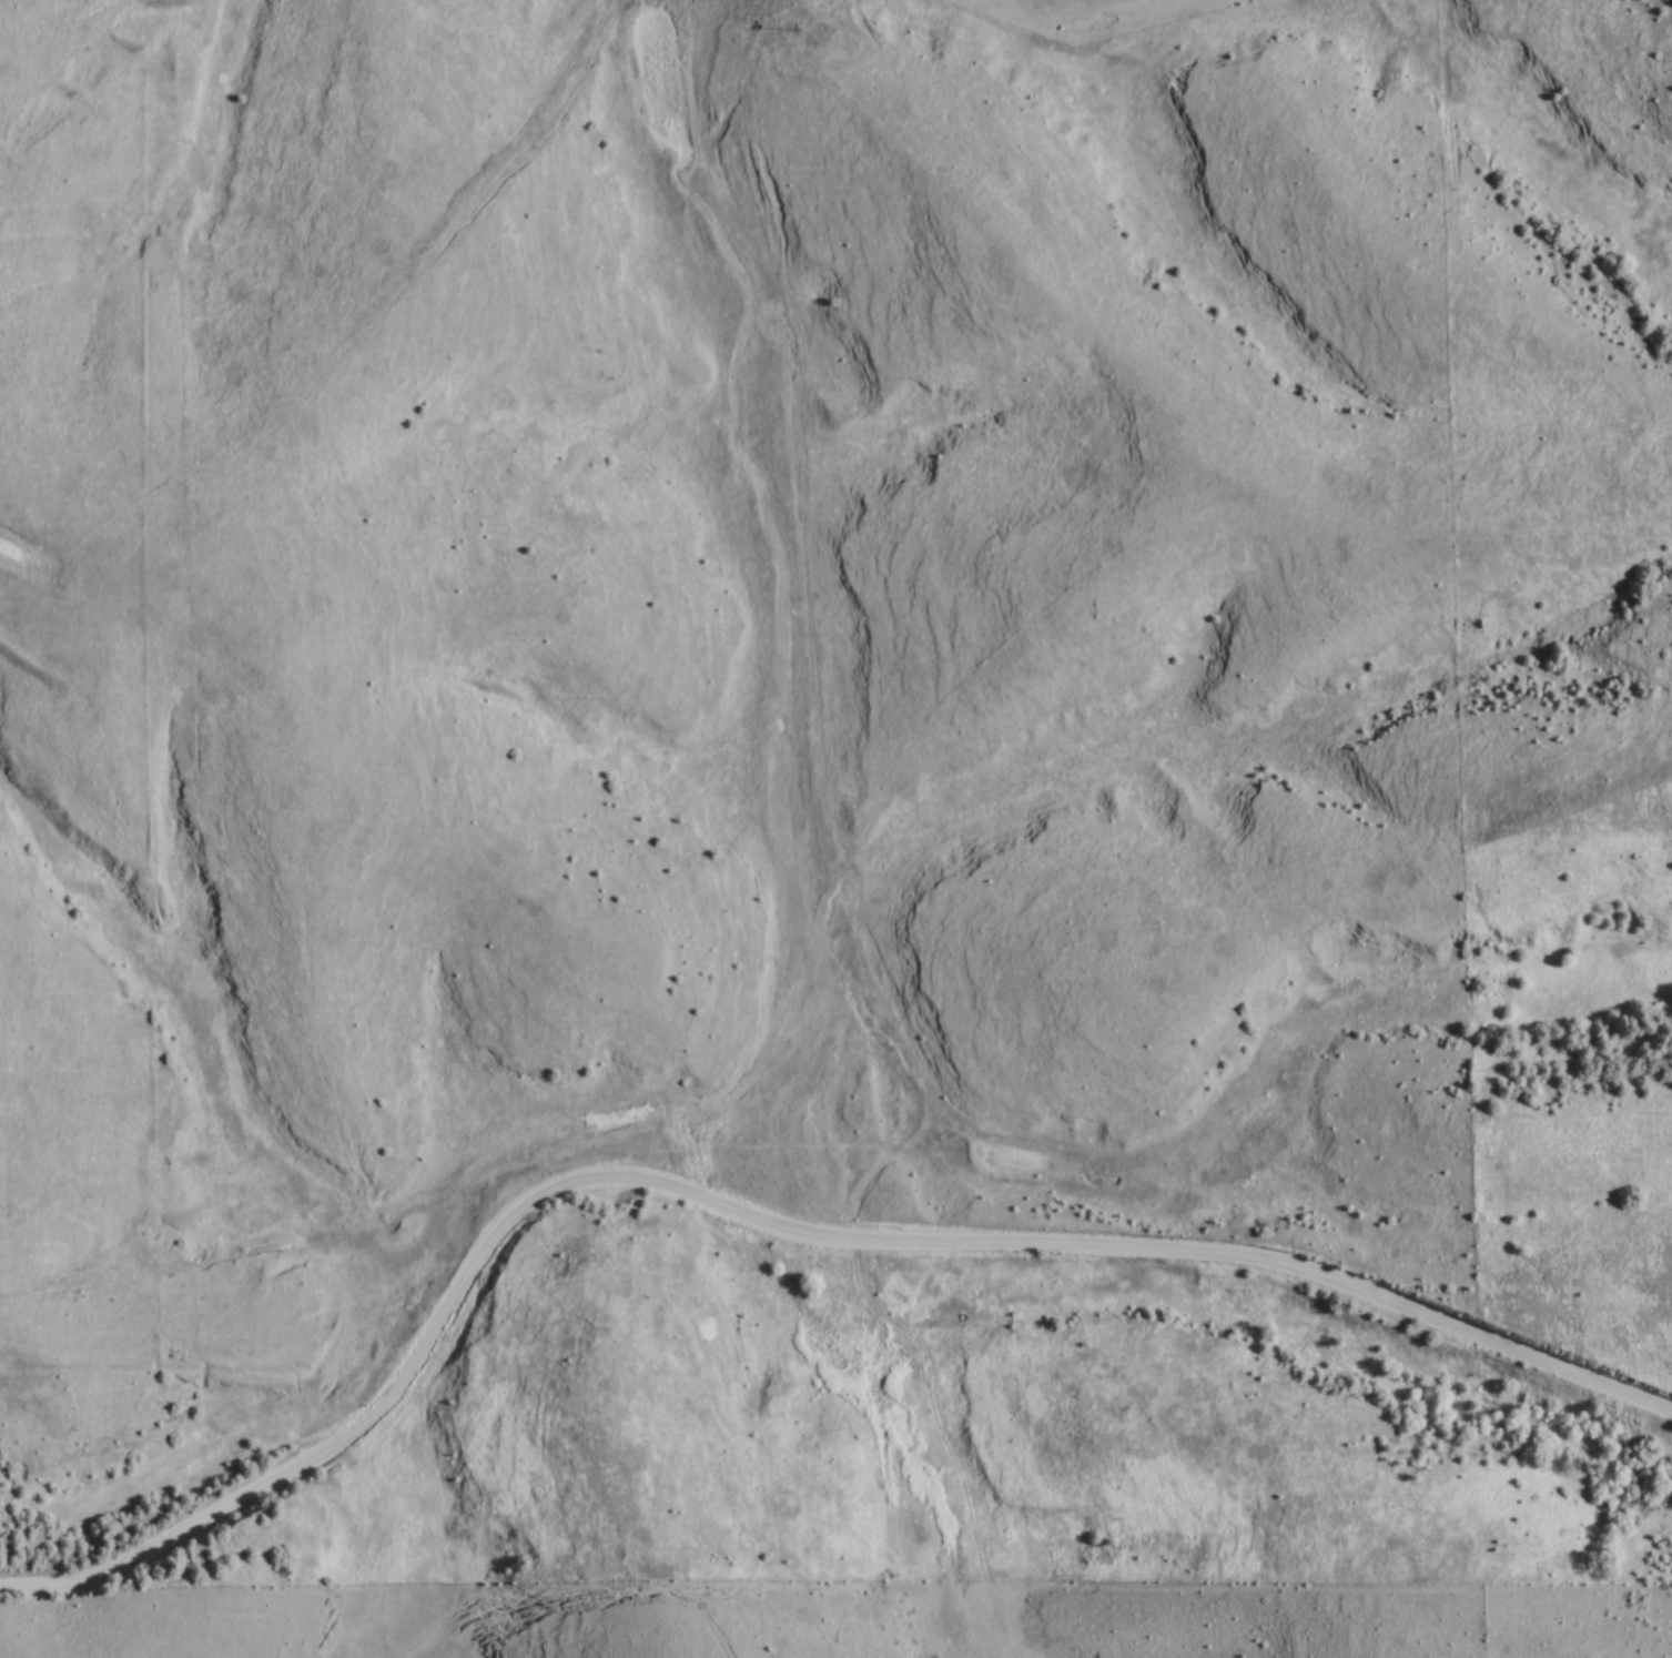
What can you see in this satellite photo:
road: (768, 1223)

